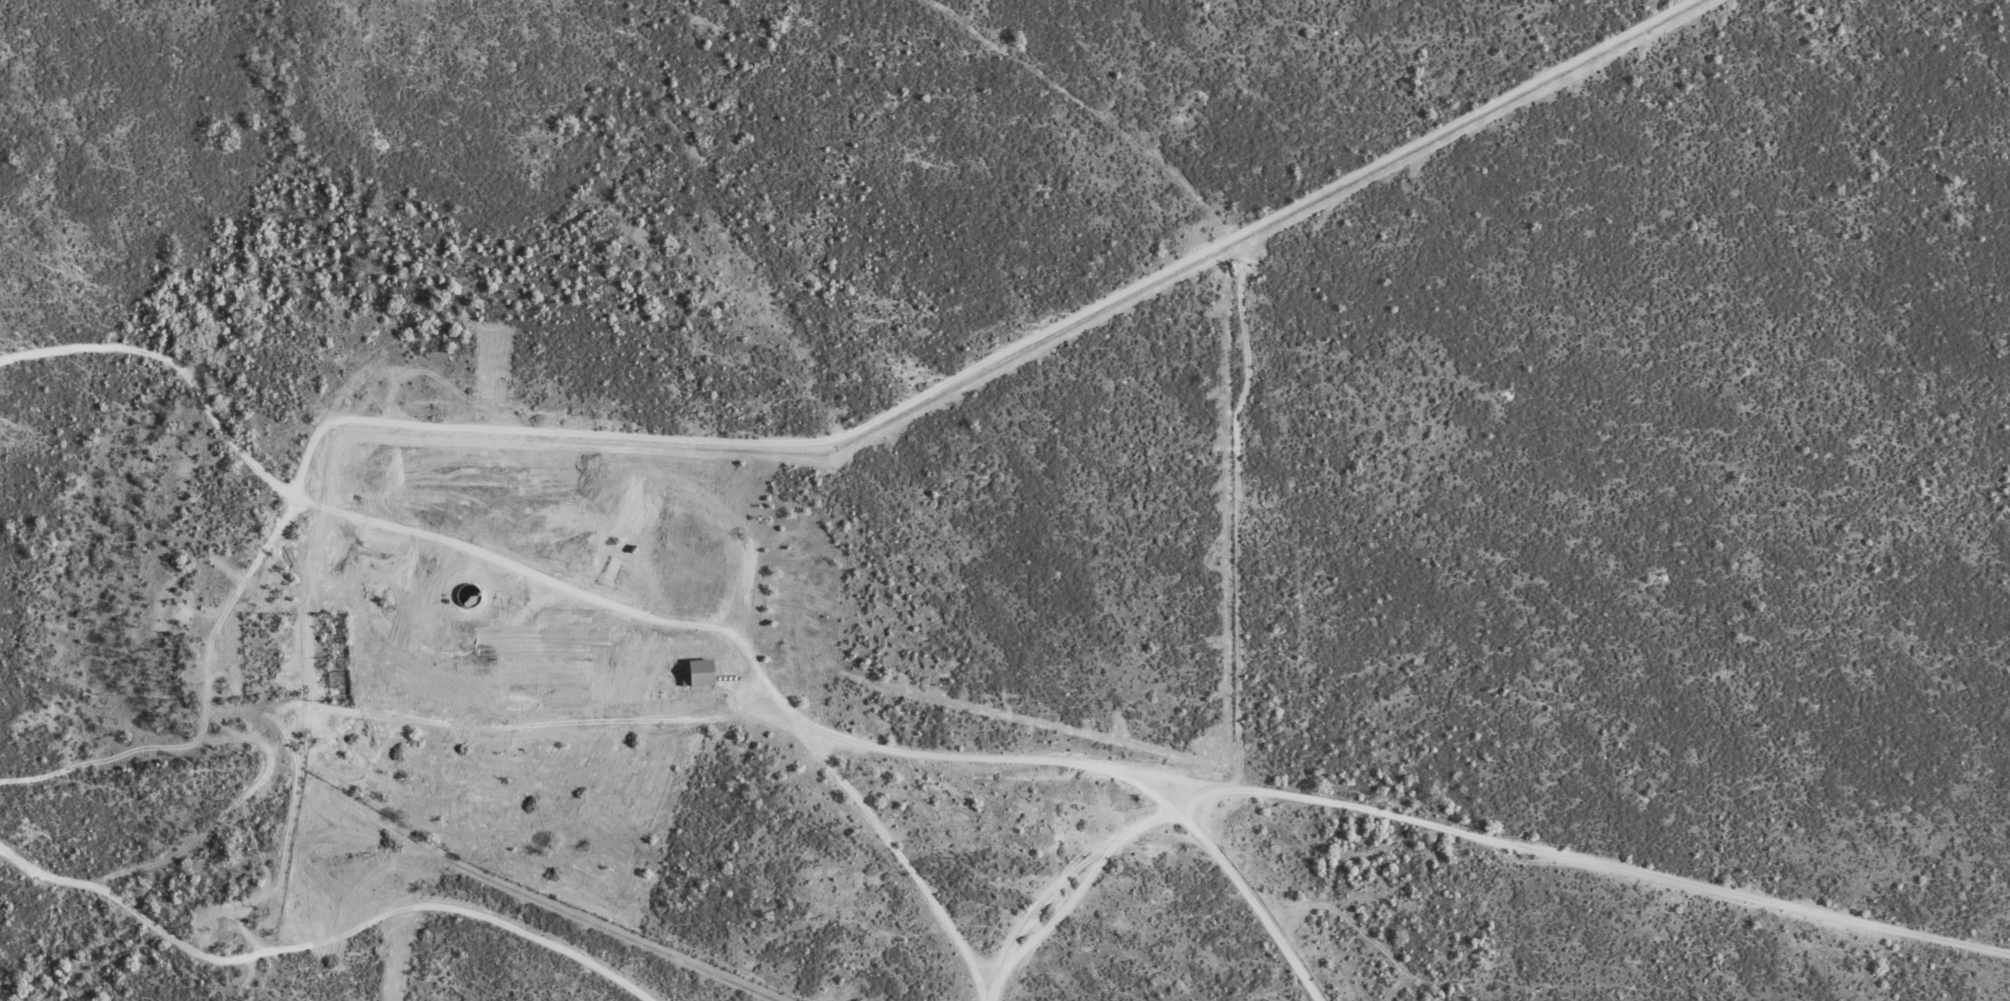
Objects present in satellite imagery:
building: (568, 550)
building: (614, 569)
building: (502, 599)
building: (699, 674)
road: (525, 727)
road: (944, 763)
road: (1235, 875)
road: (1099, 878)

